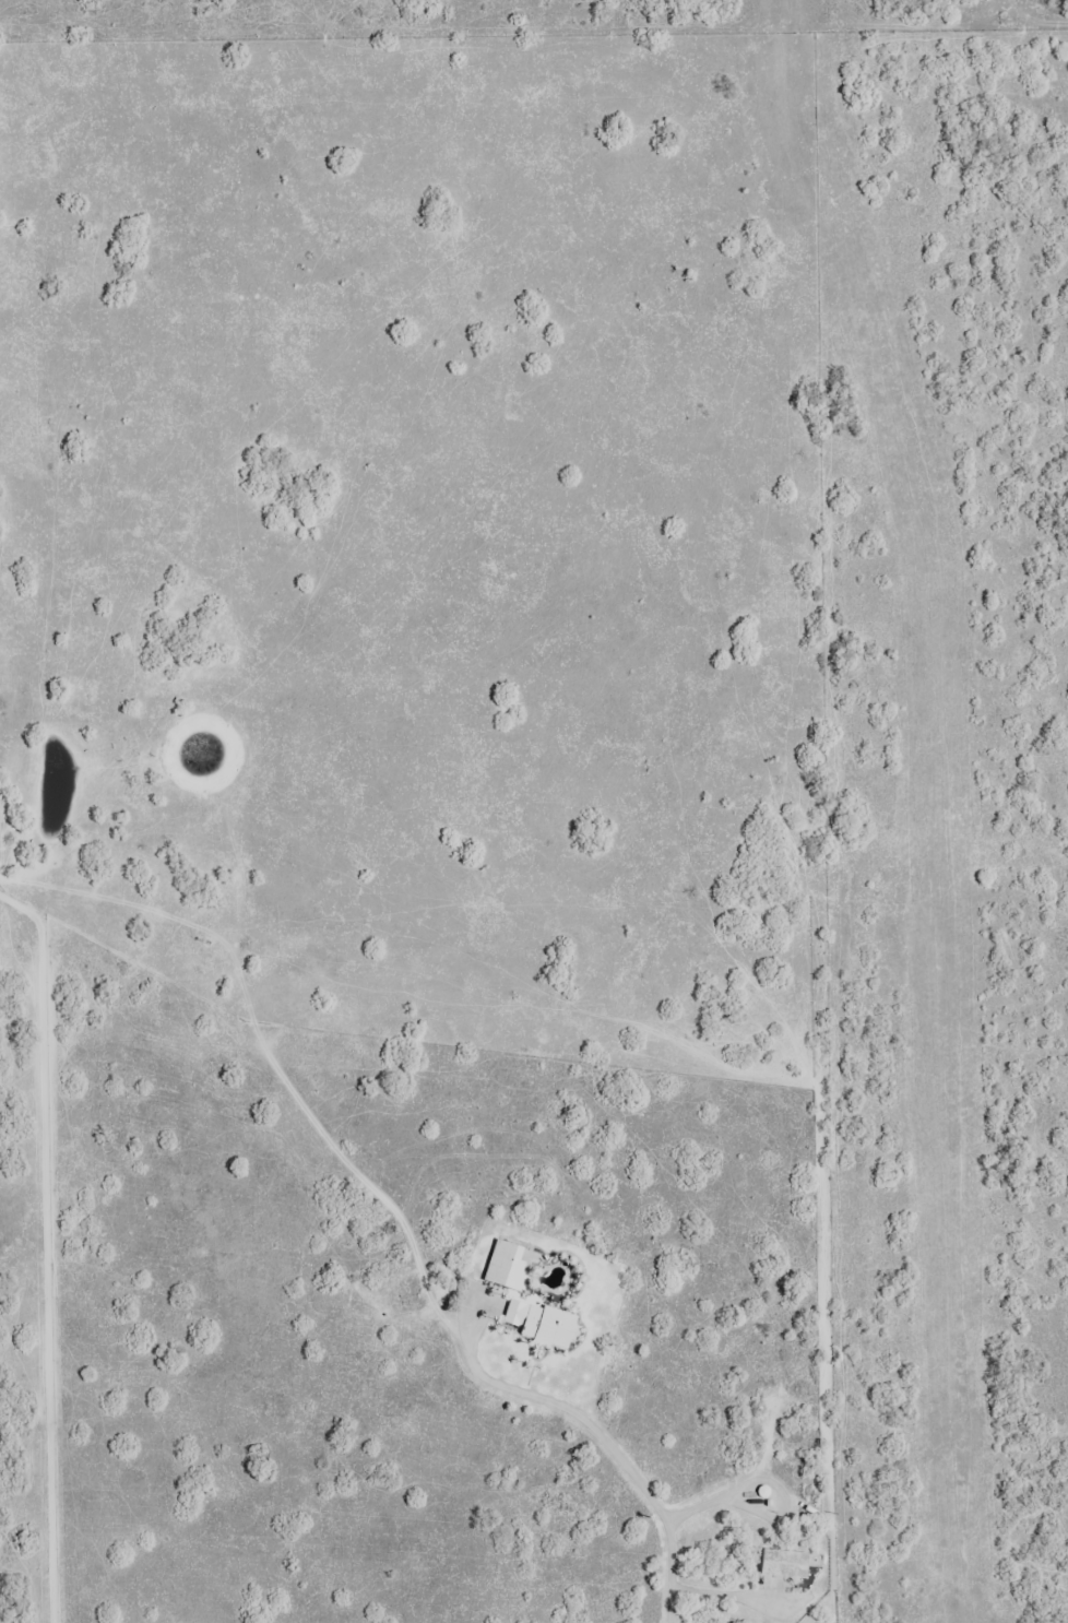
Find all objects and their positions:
building: (510, 1265)
building: (546, 1323)
road: (992, 1409)
road: (945, 1516)
building: (787, 1562)

